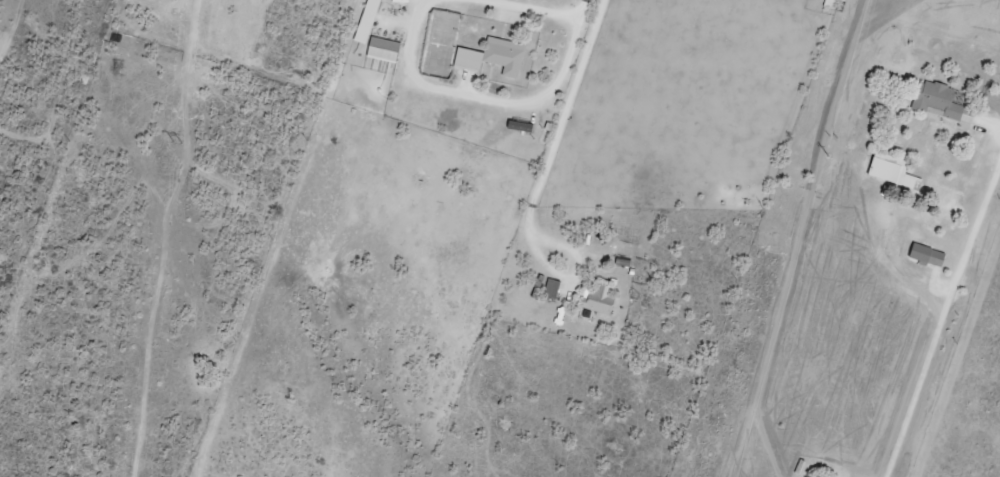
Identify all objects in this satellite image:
building: (829, 3)
building: (366, 20)
building: (383, 48)
building: (492, 56)
building: (940, 101)
road: (989, 124)
power tower: (829, 137)
power tower: (182, 142)
building: (891, 172)
building: (925, 254)
building: (547, 285)
building: (599, 298)

